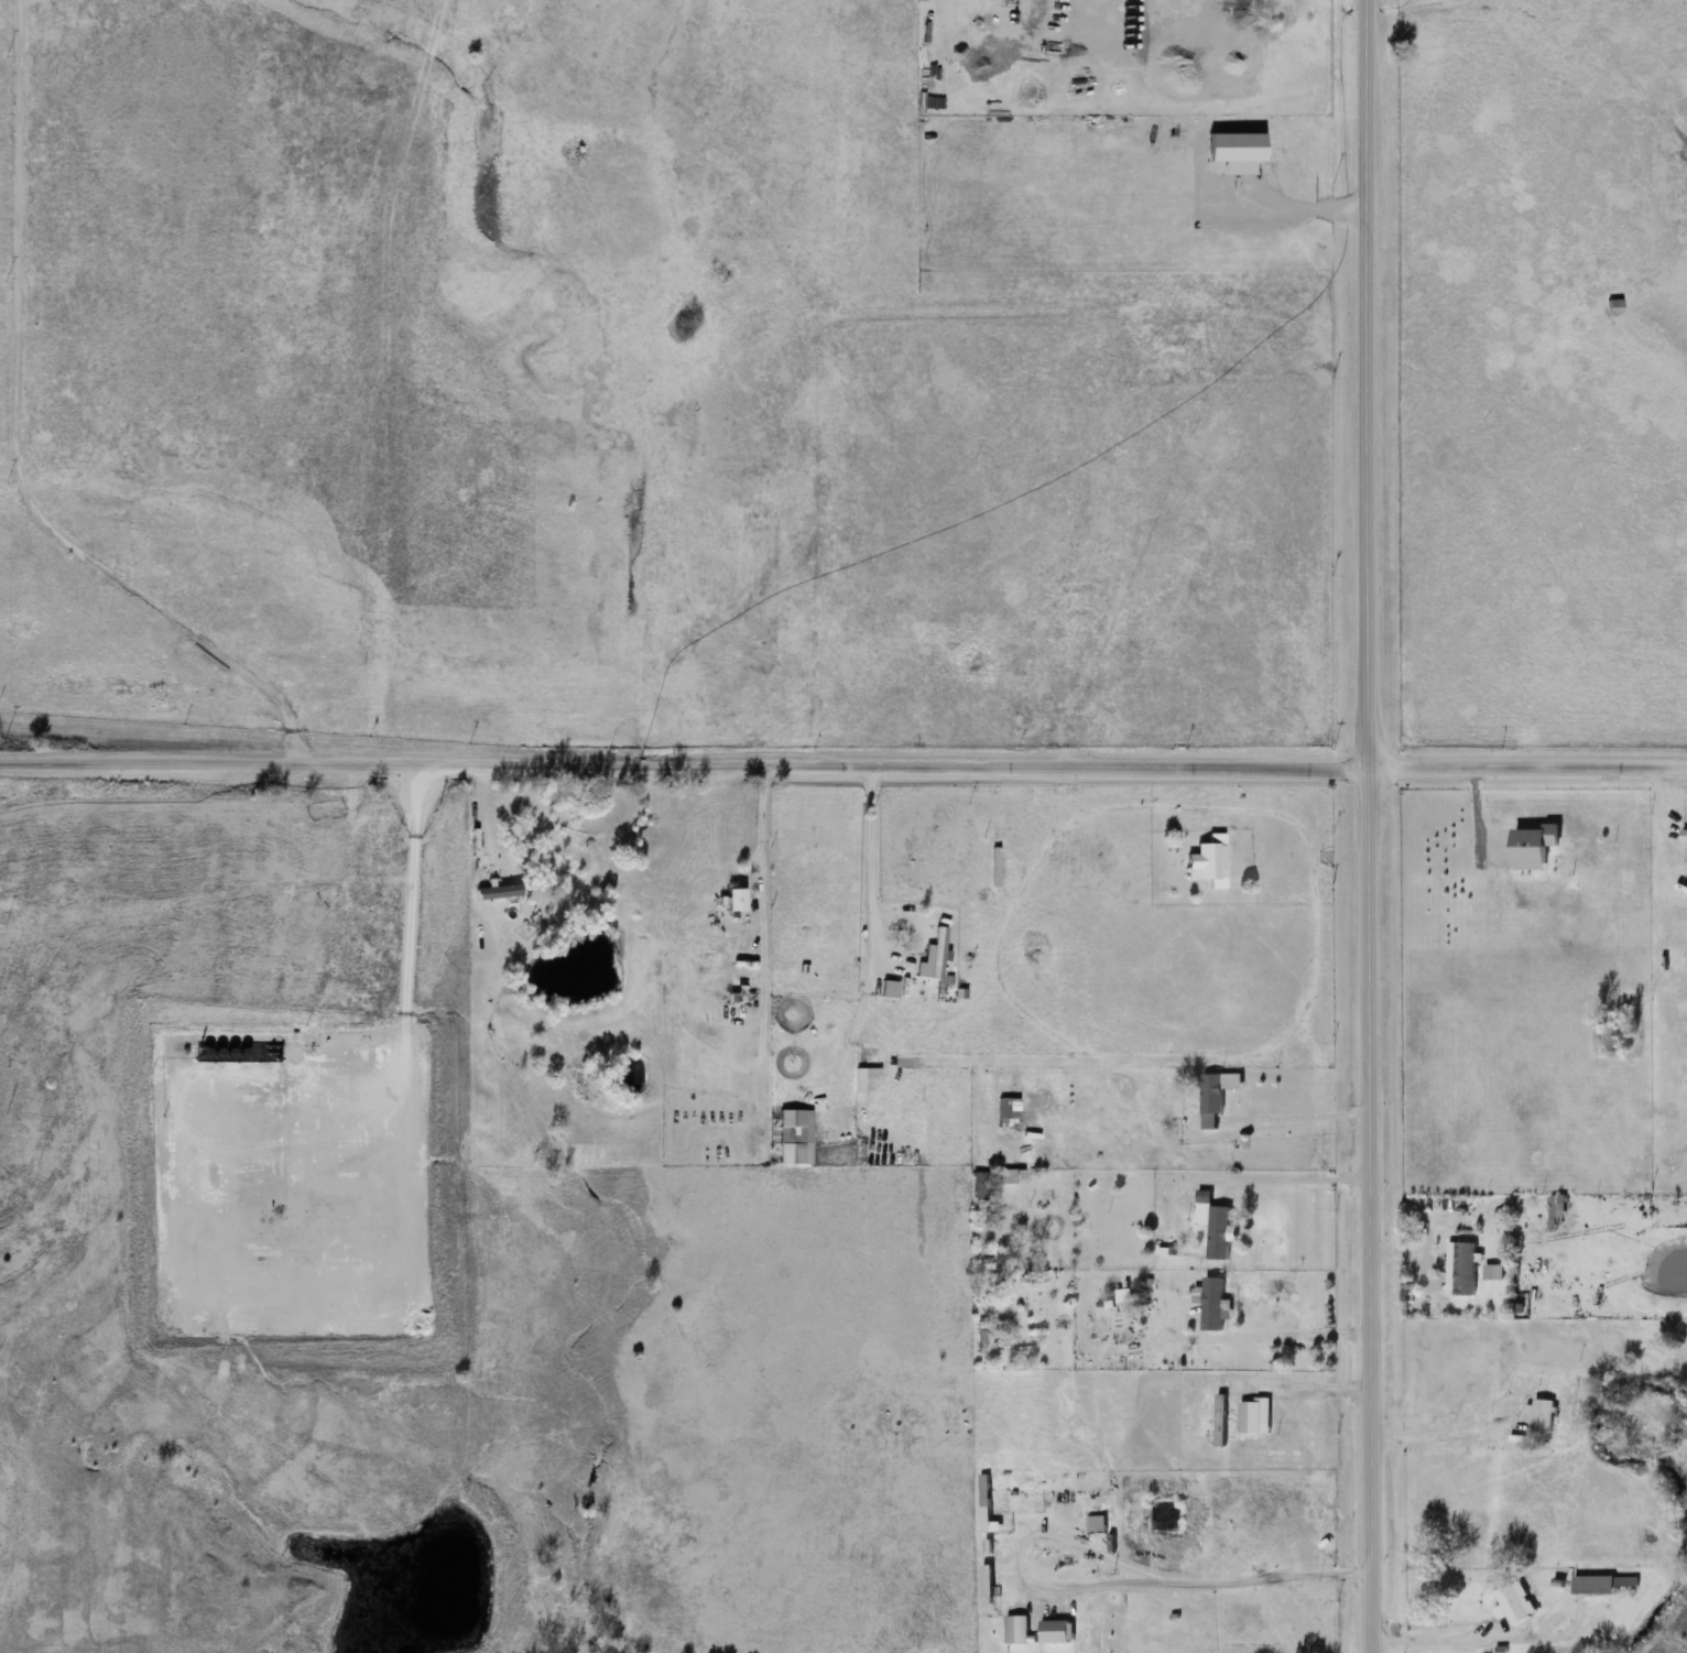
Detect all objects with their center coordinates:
road: (1358, 385)
road: (679, 769)
road: (1522, 769)
road: (1096, 833)
building: (1684, 837)
building: (1536, 848)
building: (1208, 862)
building: (1002, 867)
road: (871, 870)
building: (737, 900)
building: (935, 957)
building: (1211, 1100)
building: (1004, 1108)
building: (792, 1139)
road: (1194, 1177)
building: (981, 1190)
road: (1362, 1211)
building: (1555, 1212)
building: (1216, 1229)
building: (1458, 1262)
building: (1493, 1272)
building: (1124, 1301)
building: (1543, 1414)
building: (1248, 1415)
road: (1441, 1438)
building: (984, 1503)
building: (1600, 1585)
building: (1511, 1606)
building: (1057, 1632)
road: (1446, 1643)

